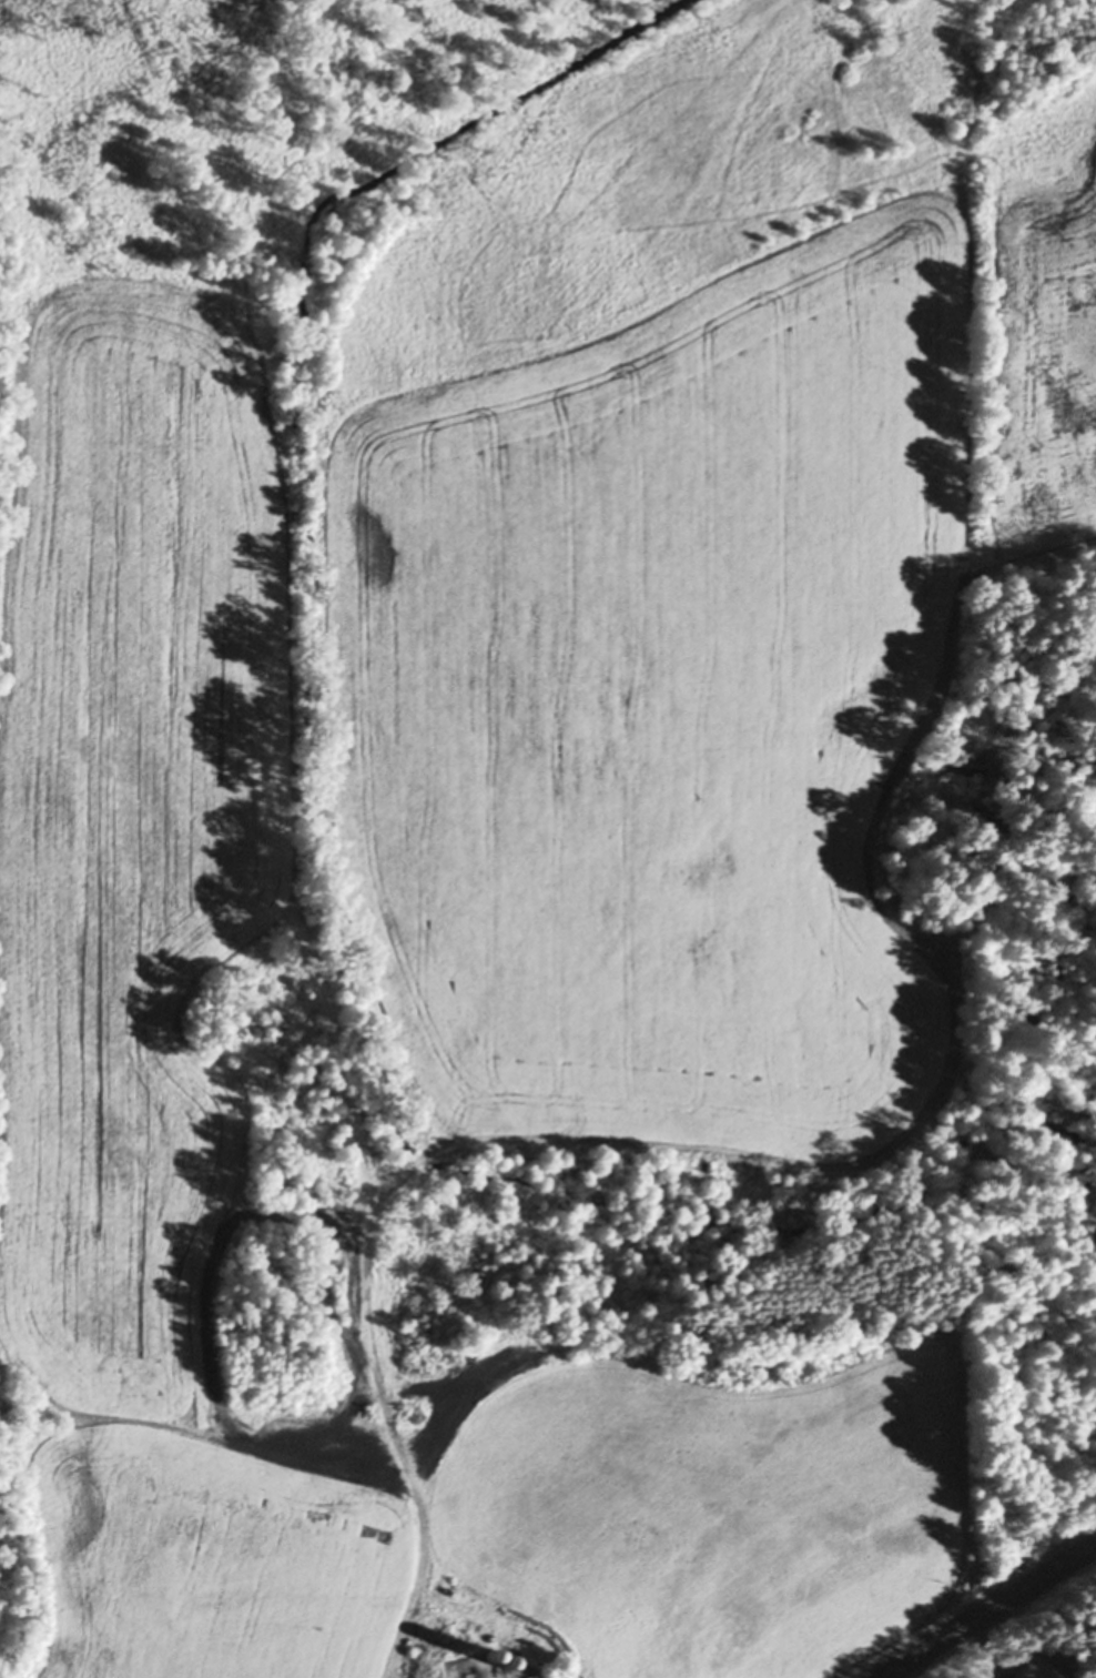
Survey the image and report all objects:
road: (986, 1609)
building: (491, 1655)
building: (508, 1662)
building: (1021, 1677)

